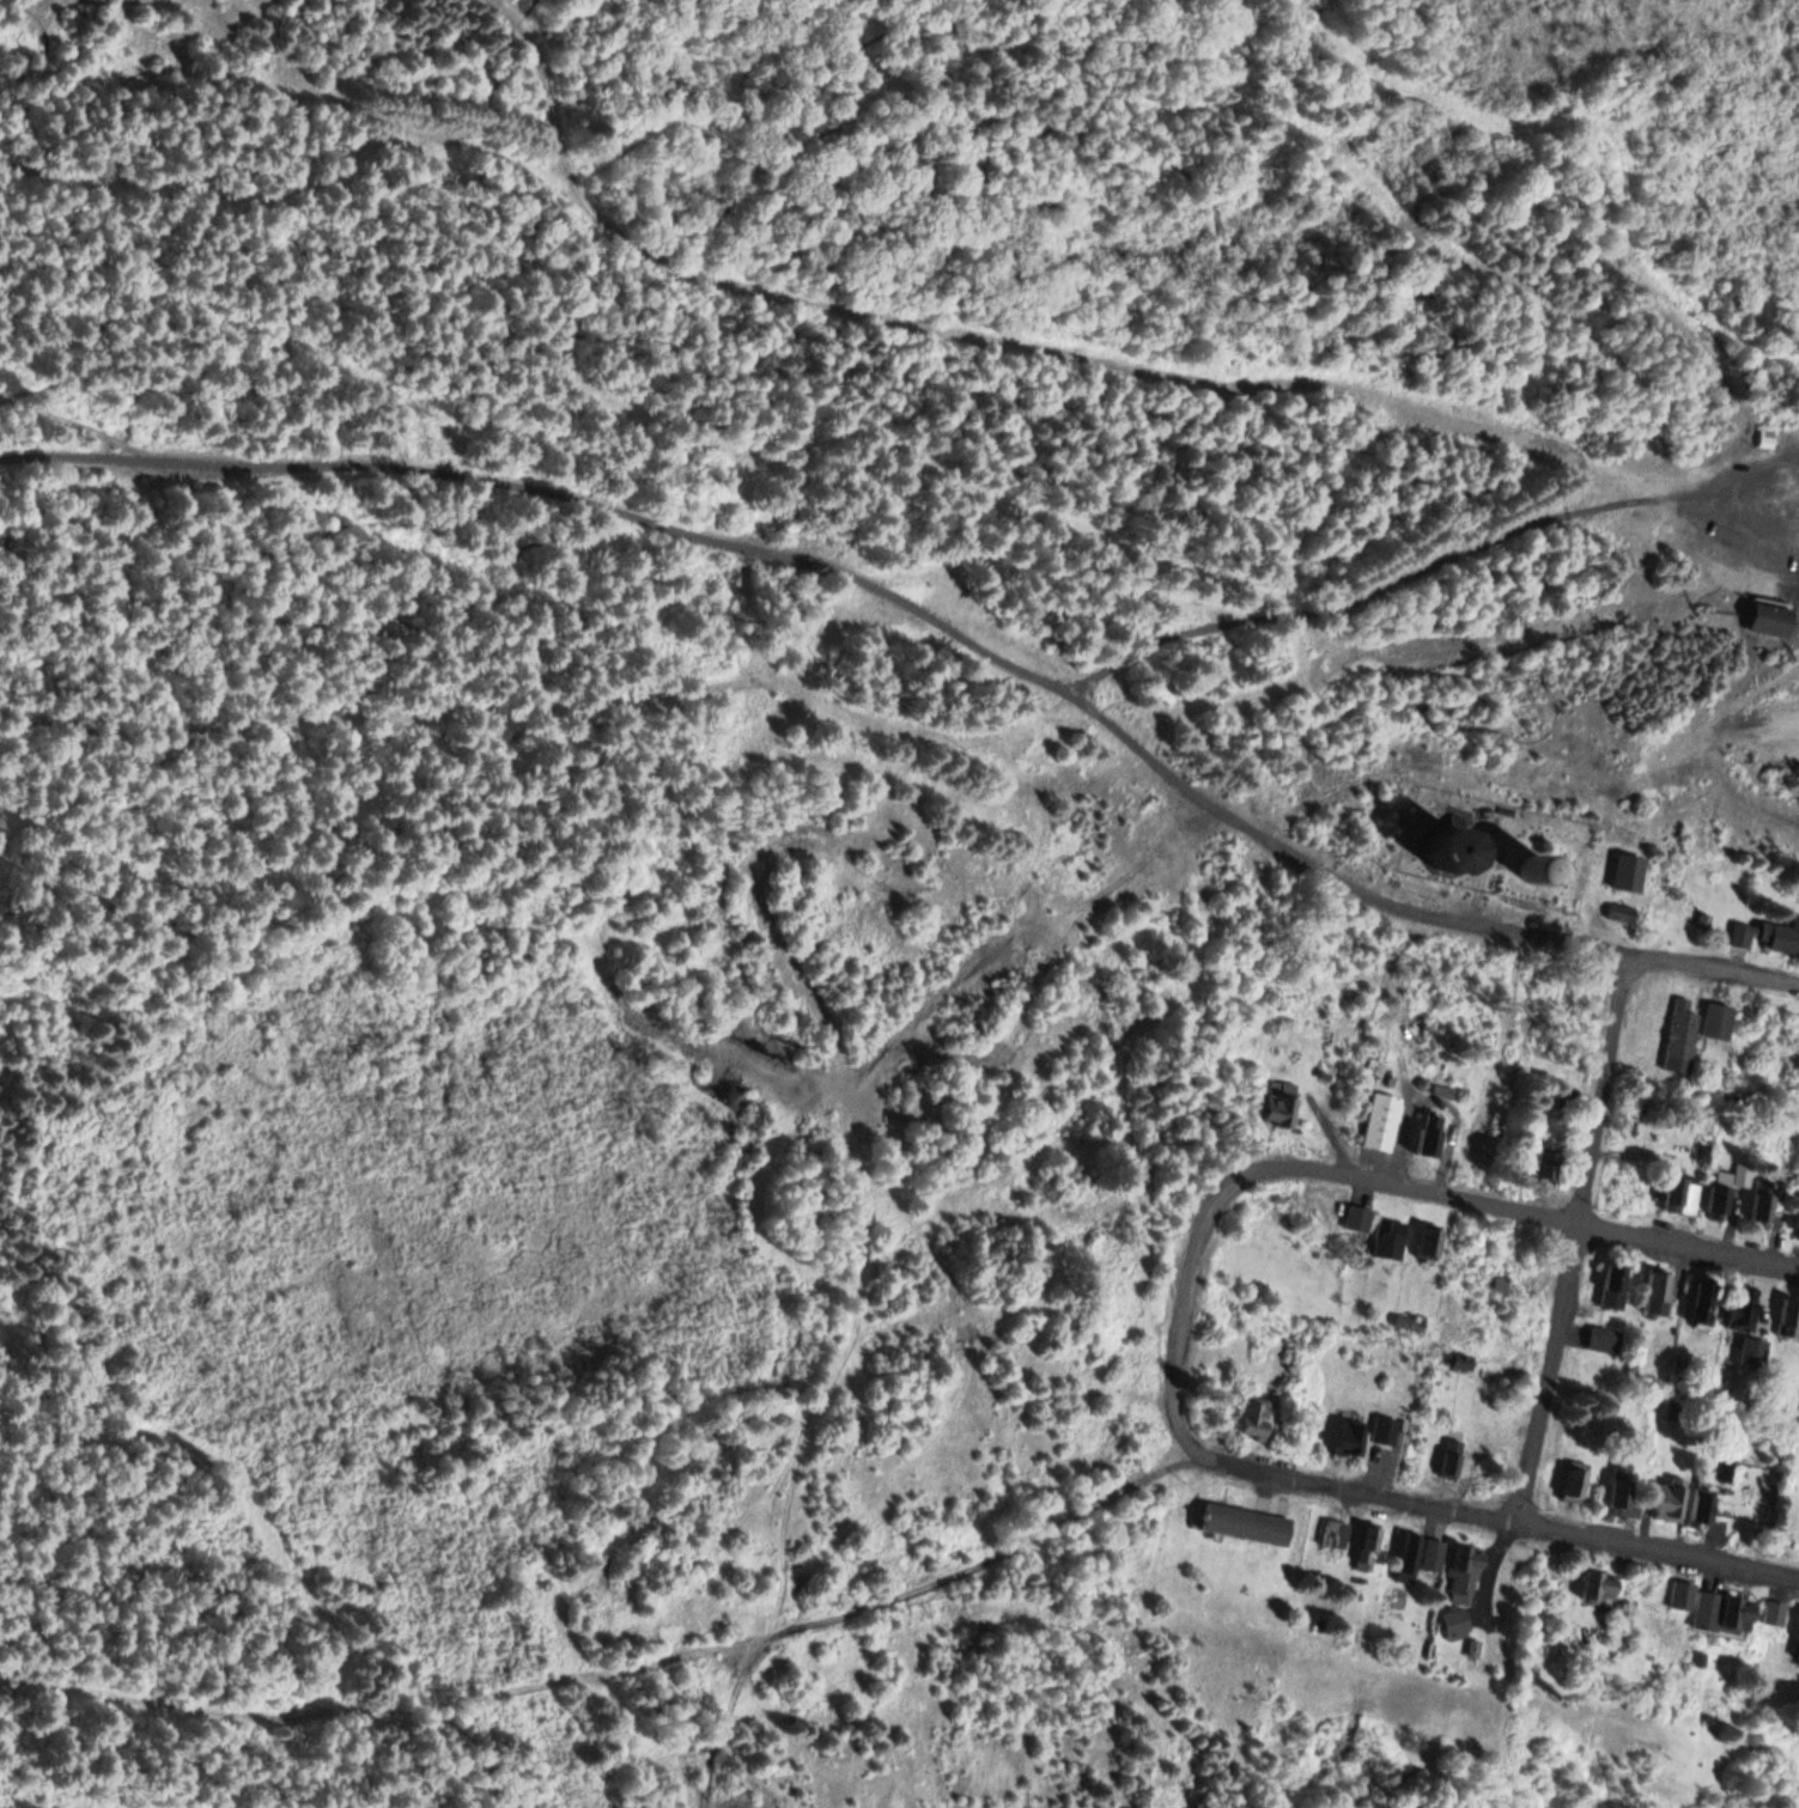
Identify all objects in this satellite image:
road: (184, 85)
road: (375, 118)
road: (859, 142)
road: (381, 262)
road: (281, 328)
road: (1027, 345)
road: (80, 425)
building: (1763, 438)
road: (612, 497)
road: (1221, 497)
road: (1710, 504)
parking lot: (1746, 517)
building: (1770, 617)
building: (1457, 847)
water tower: (1457, 850)
water tower: (1539, 865)
building: (1540, 866)
building: (1625, 870)
building: (1621, 909)
road: (1464, 912)
building: (1740, 932)
building: (1783, 933)
building: (1715, 1019)
building: (1678, 1040)
building: (1276, 1108)
building: (1378, 1121)
building: (1428, 1132)
building: (1742, 1174)
building: (1673, 1189)
road: (1531, 1199)
building: (1716, 1200)
building: (1760, 1209)
building: (1355, 1216)
building: (1798, 1222)
road: (1580, 1234)
building: (1386, 1237)
building: (1427, 1240)
building: (1611, 1286)
road: (1201, 1290)
building: (1653, 1290)
building: (1700, 1303)
building: (1742, 1308)
building: (1786, 1319)
building: (1408, 1321)
building: (1603, 1340)
building: (1751, 1351)
building: (1460, 1360)
building: (1254, 1417)
building: (1347, 1436)
building: (1448, 1455)
building: (1573, 1481)
building: (1622, 1493)
building: (1667, 1497)
building: (1701, 1505)
road: (1497, 1511)
building: (1244, 1523)
building: (1333, 1533)
building: (1366, 1544)
building: (1408, 1552)
building: (1432, 1553)
building: (1460, 1573)
building: (1597, 1583)
building: (1681, 1594)
building: (1704, 1608)
building: (1734, 1611)
building: (1773, 1611)
building: (1453, 1619)
building: (1471, 1645)

